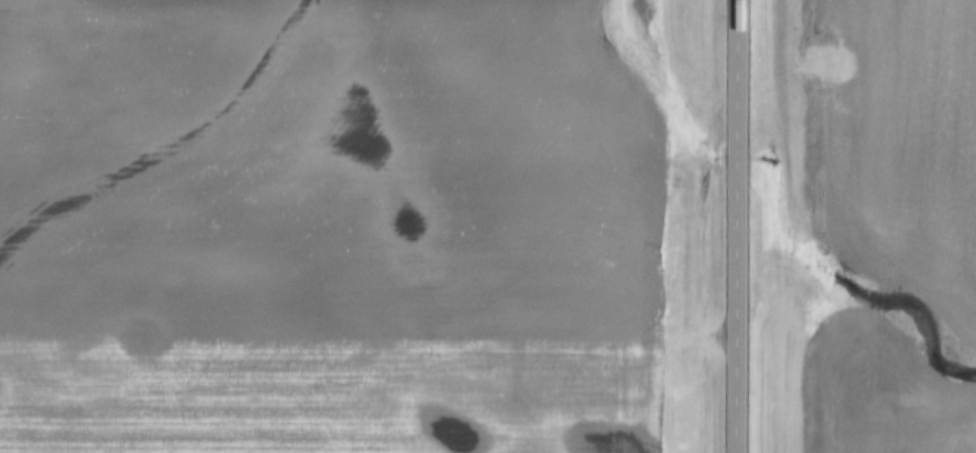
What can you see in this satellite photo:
road: (741, 226)

